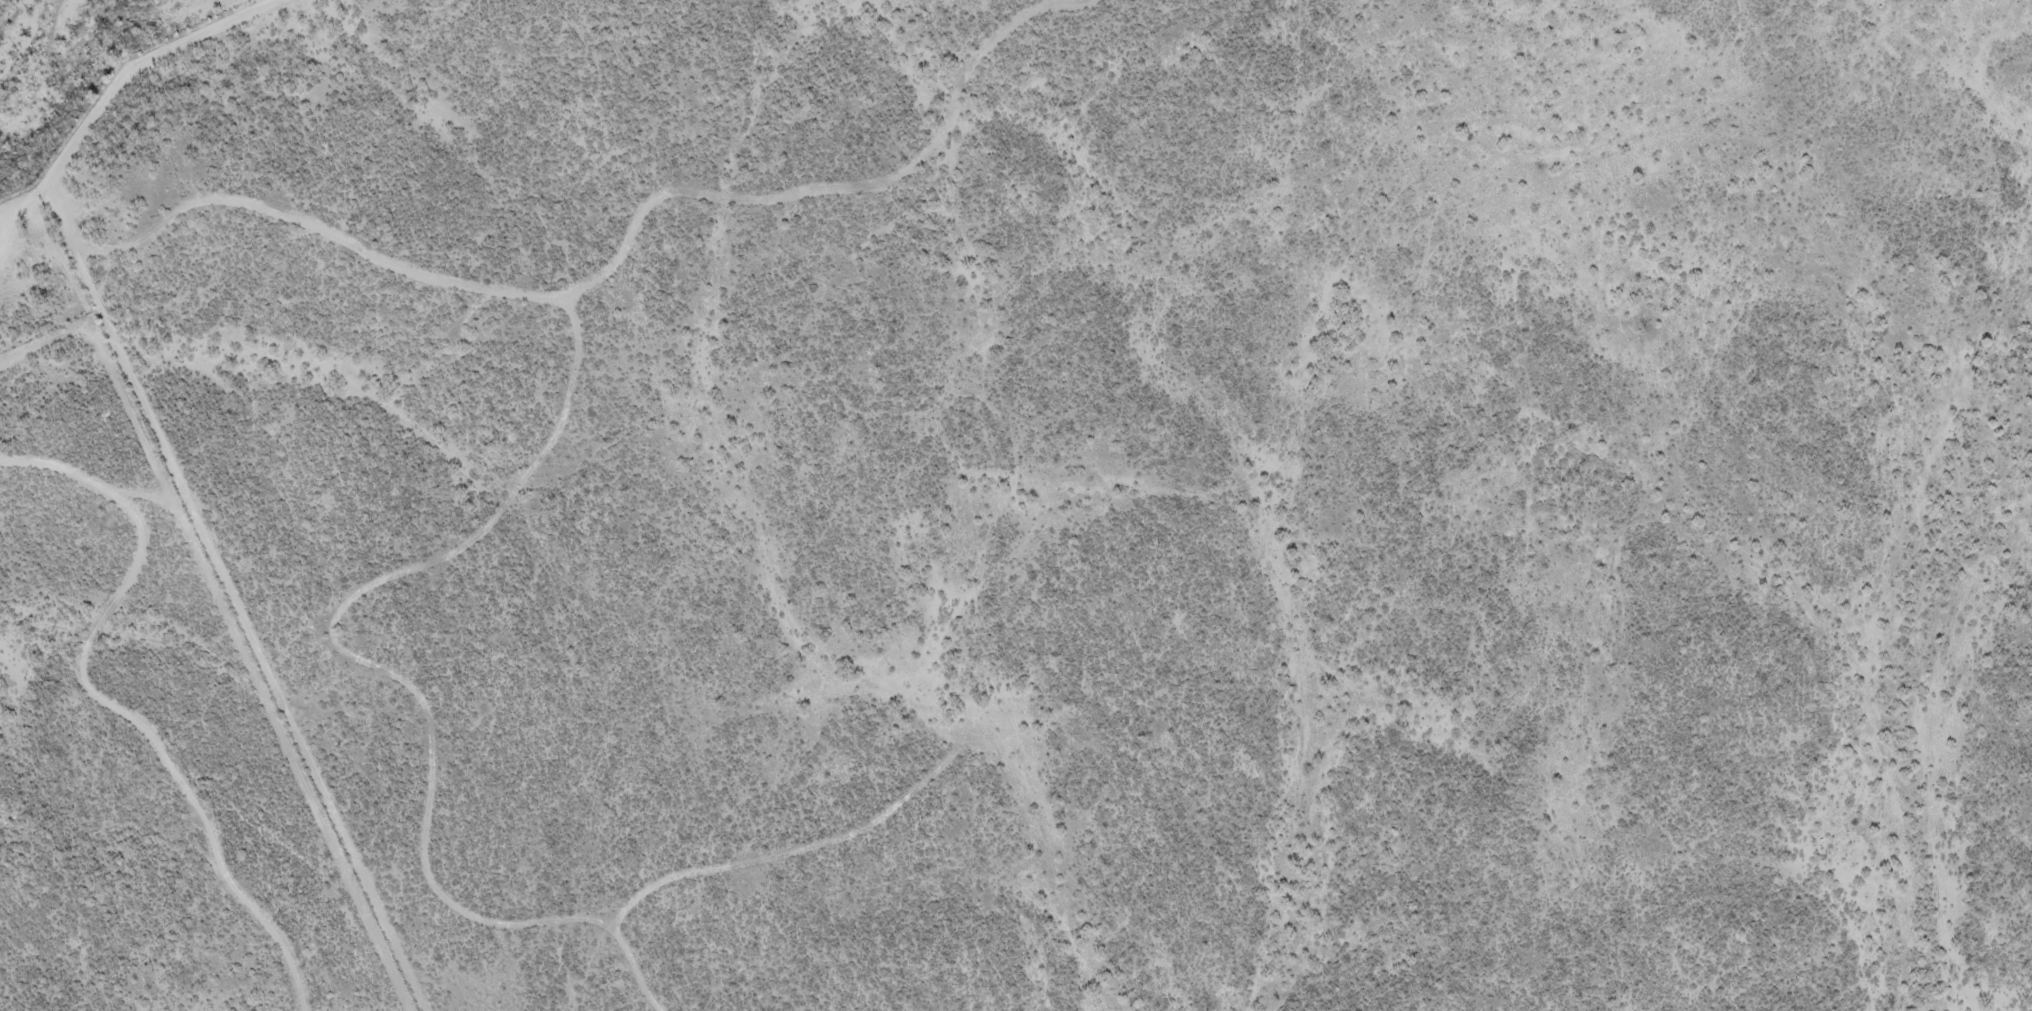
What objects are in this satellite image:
road: (110, 85)
road: (228, 599)
road: (215, 798)

